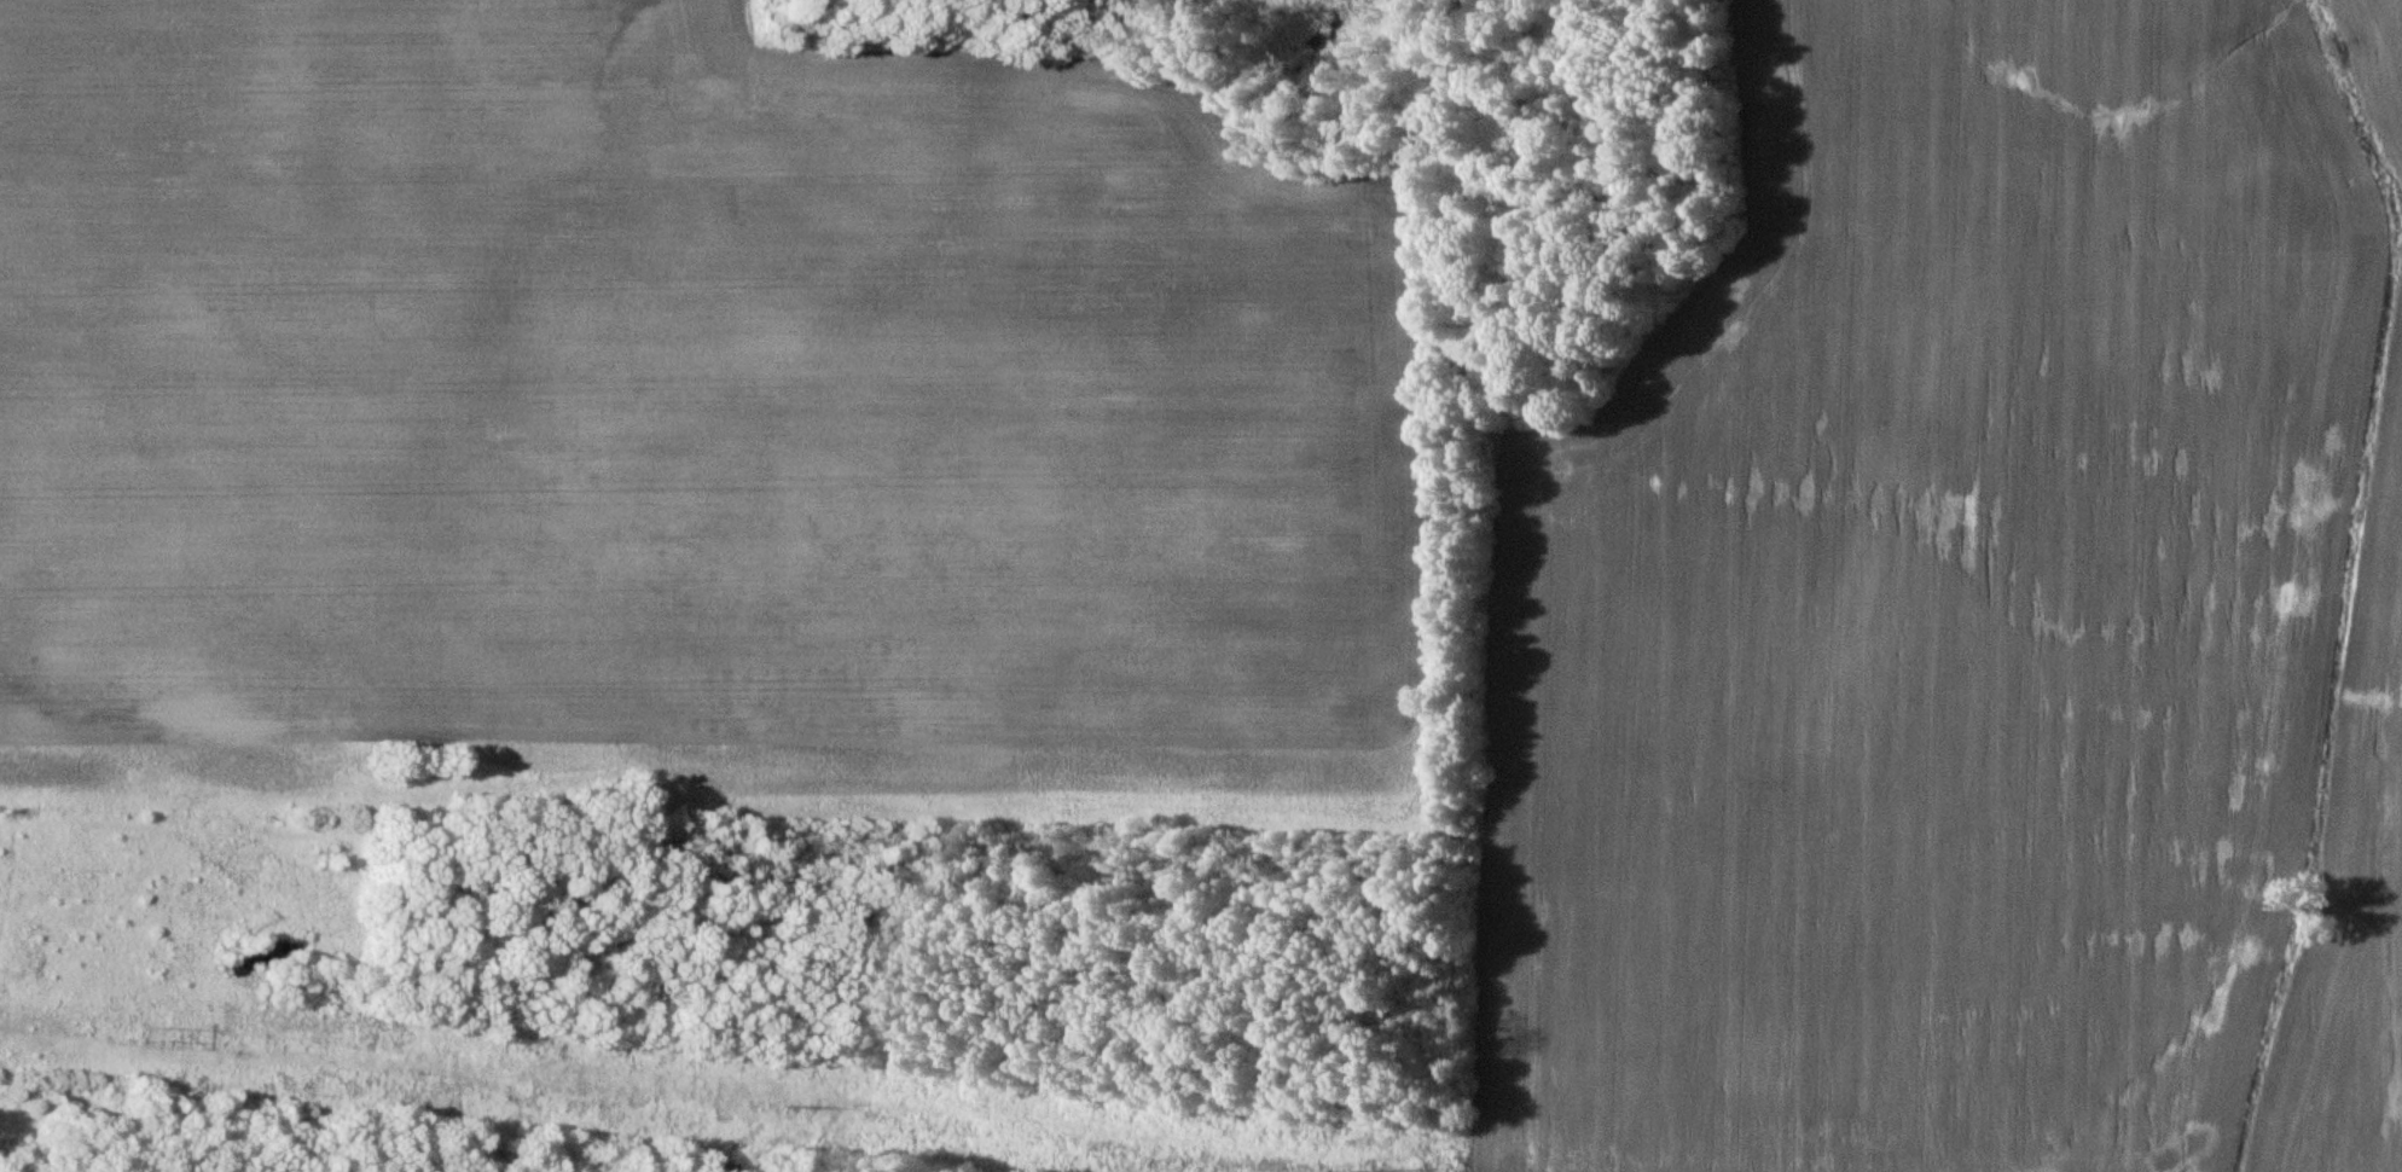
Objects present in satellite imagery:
power tower: (150, 1033)
power tower: (800, 1107)

